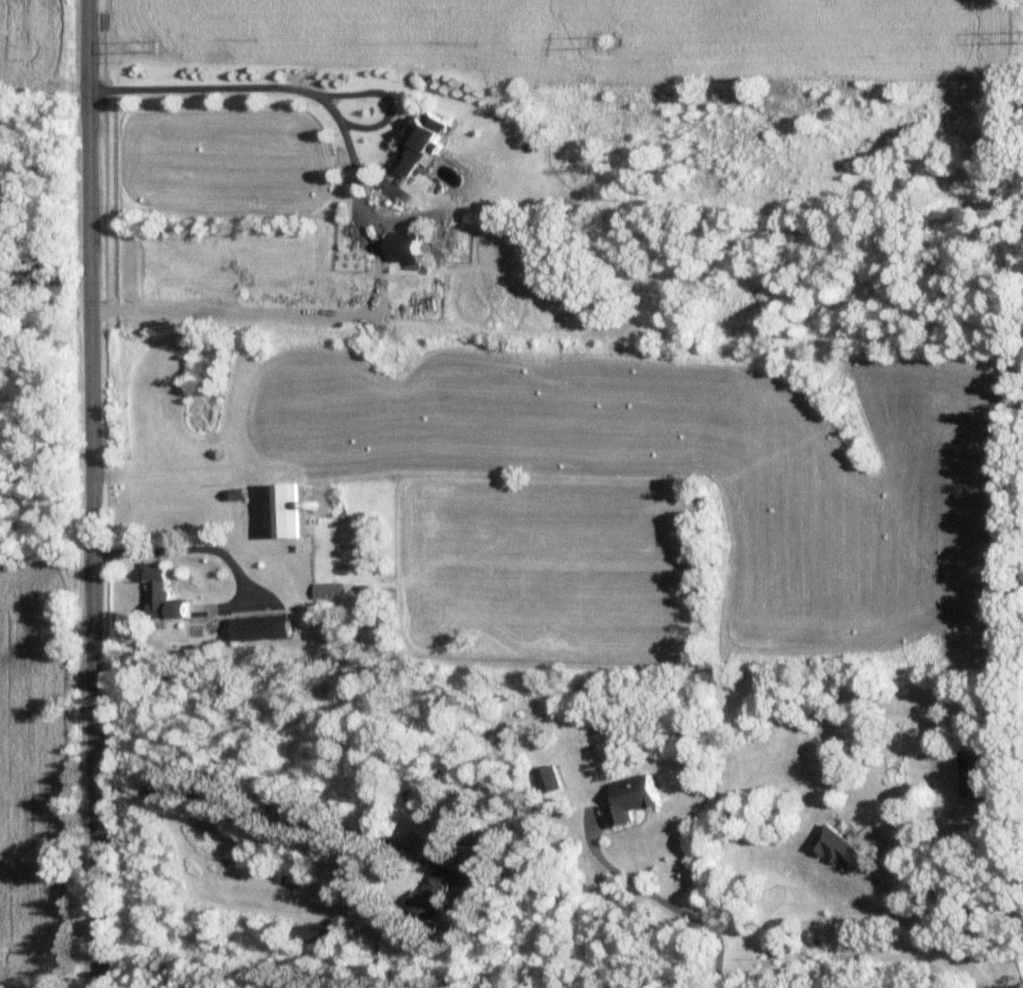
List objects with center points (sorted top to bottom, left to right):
road: (291, 92)
building: (417, 142)
building: (401, 251)
road: (91, 494)
building: (291, 511)
road: (181, 548)
building: (328, 592)
building: (160, 596)
building: (259, 629)
building: (970, 775)
building: (548, 781)
building: (436, 792)
building: (630, 800)
road: (262, 816)
building: (838, 851)
building: (435, 892)
road: (962, 893)
road: (669, 902)
building: (316, 935)
road: (923, 941)

